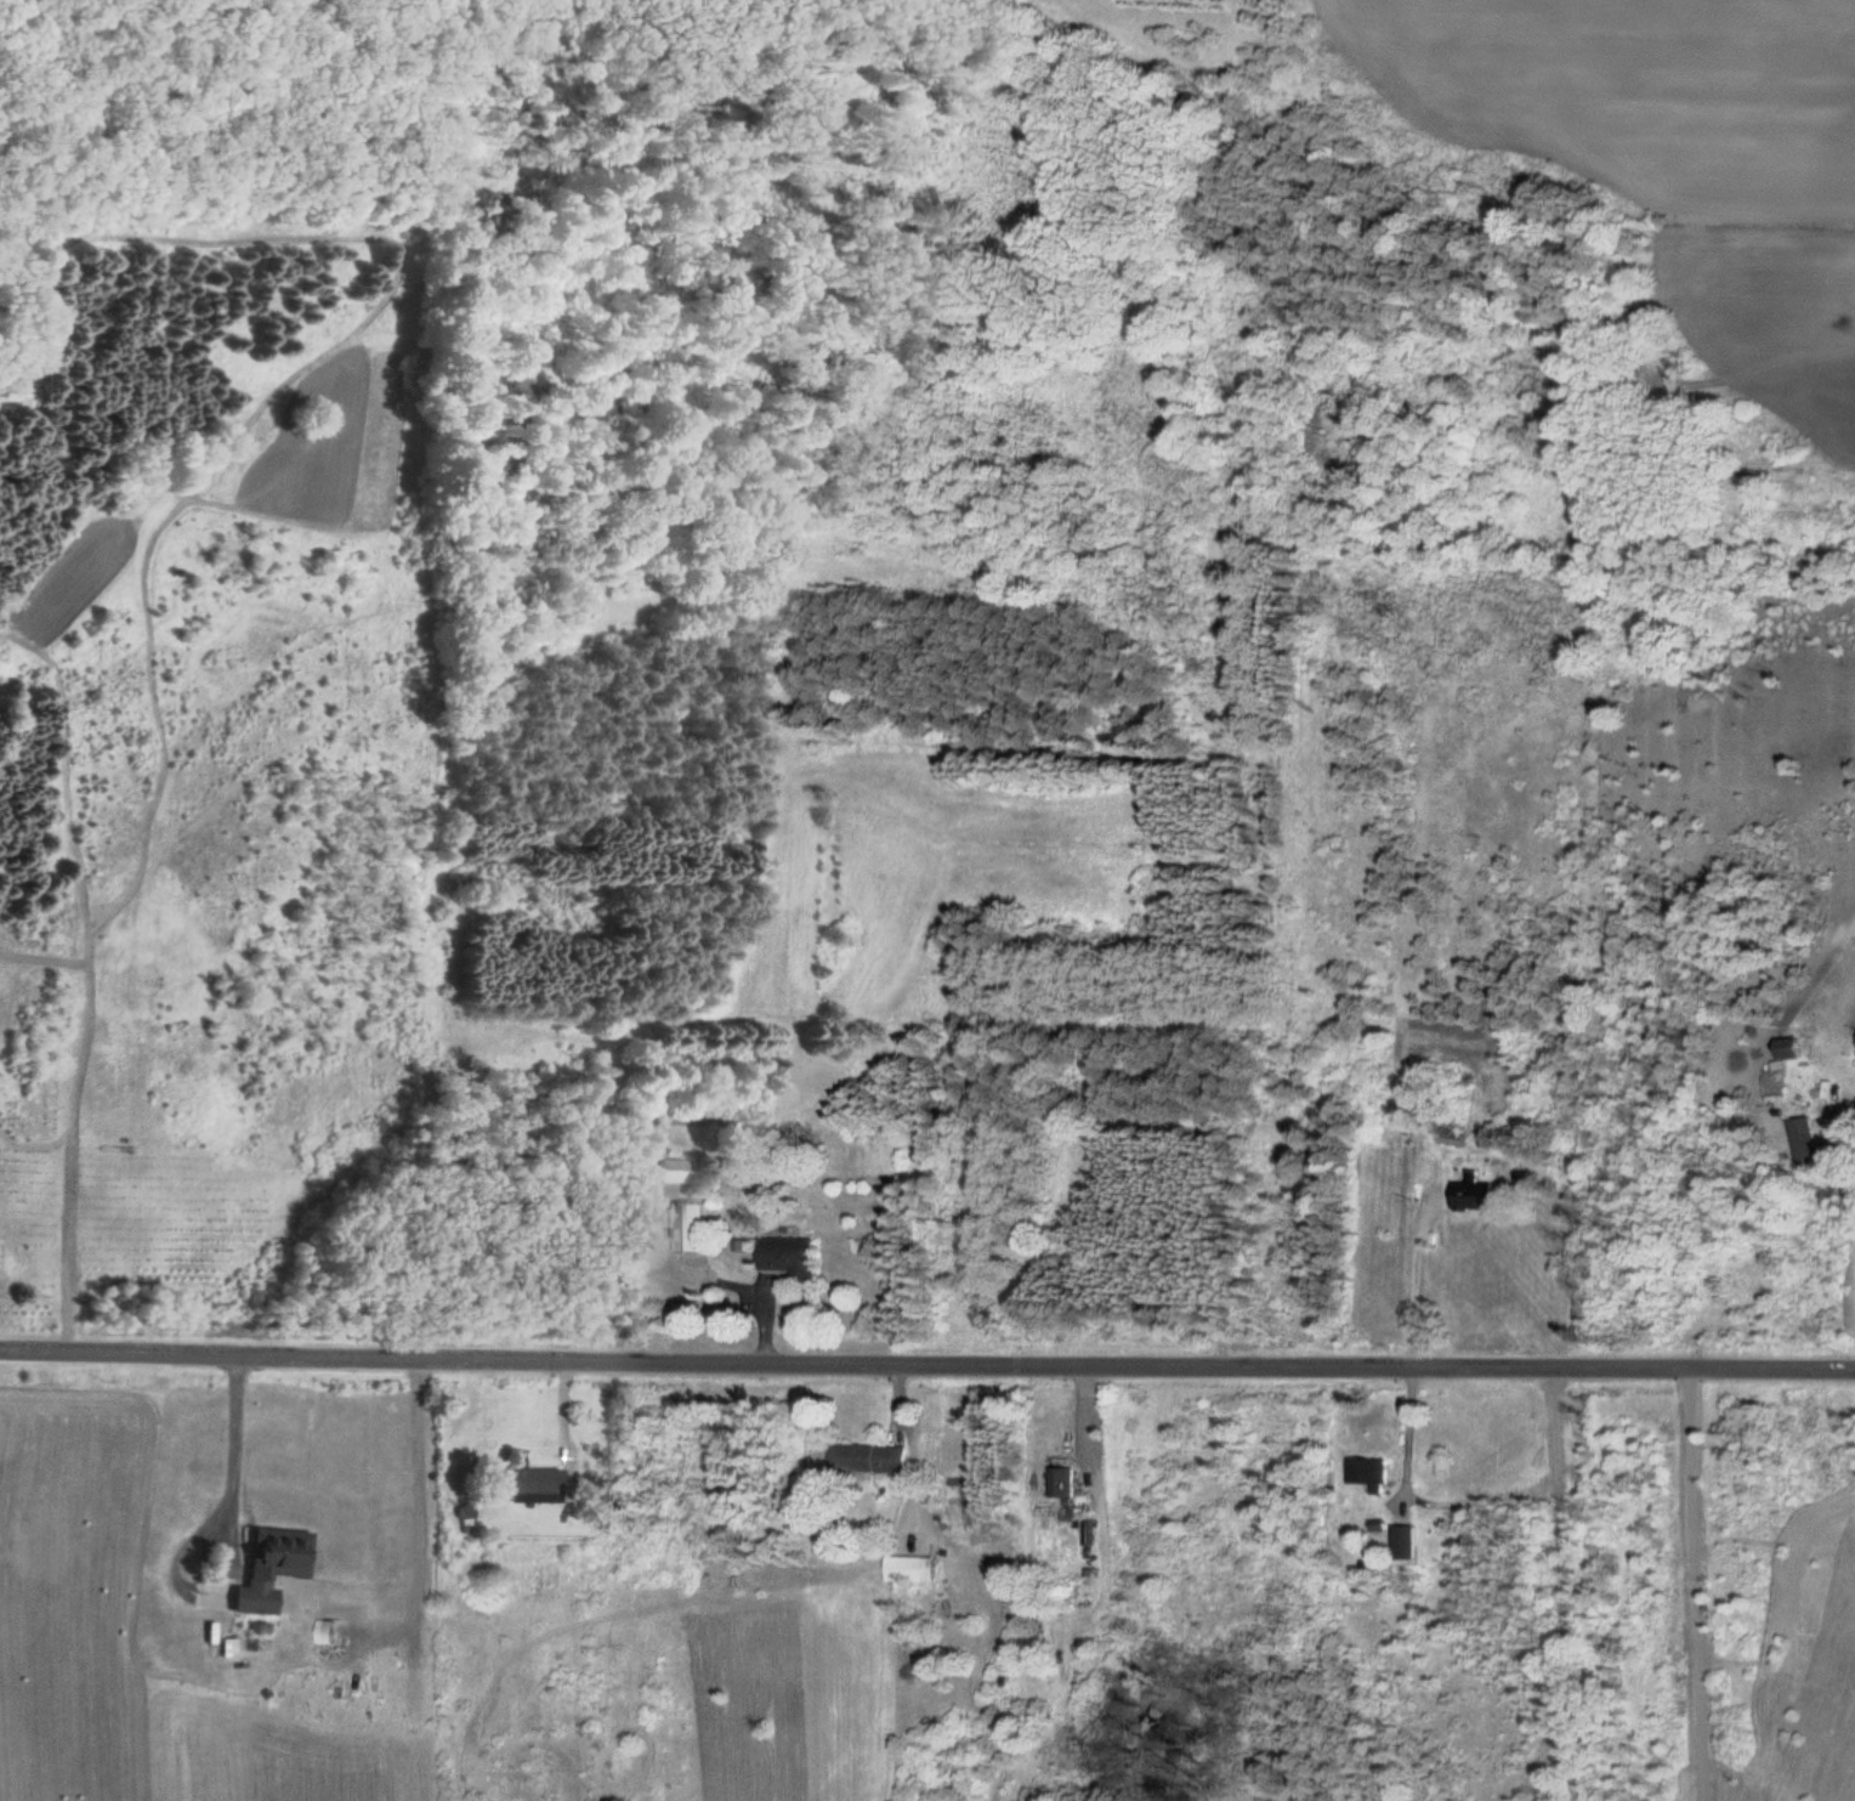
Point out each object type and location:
building: (1459, 1135)
building: (676, 1171)
building: (1477, 1193)
building: (696, 1228)
building: (794, 1257)
road: (926, 1357)
building: (872, 1456)
building: (1374, 1472)
building: (1067, 1480)
building: (526, 1482)
building: (1408, 1541)
building: (271, 1565)
building: (914, 1568)

